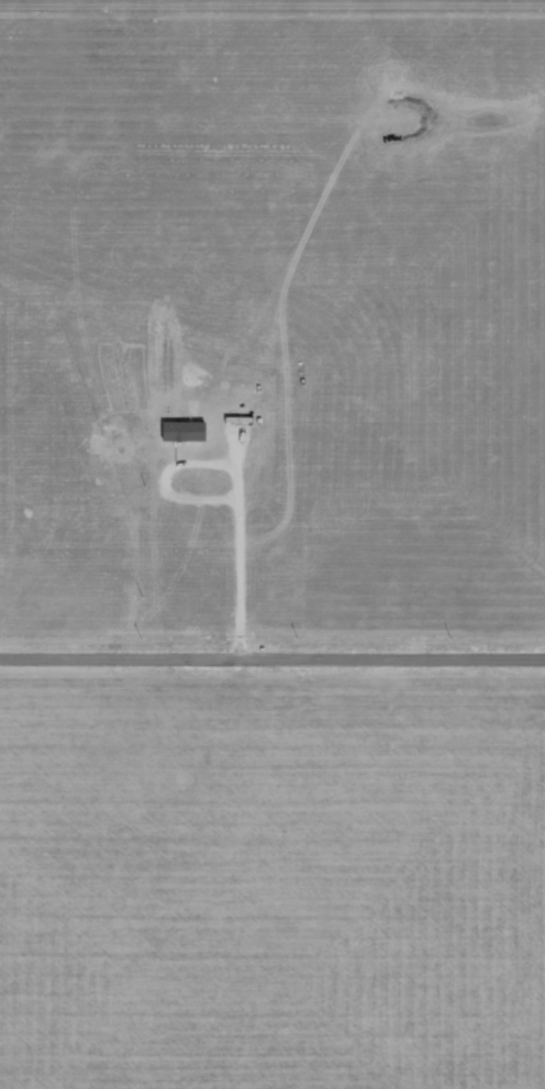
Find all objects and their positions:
building: (182, 430)
road: (272, 655)

